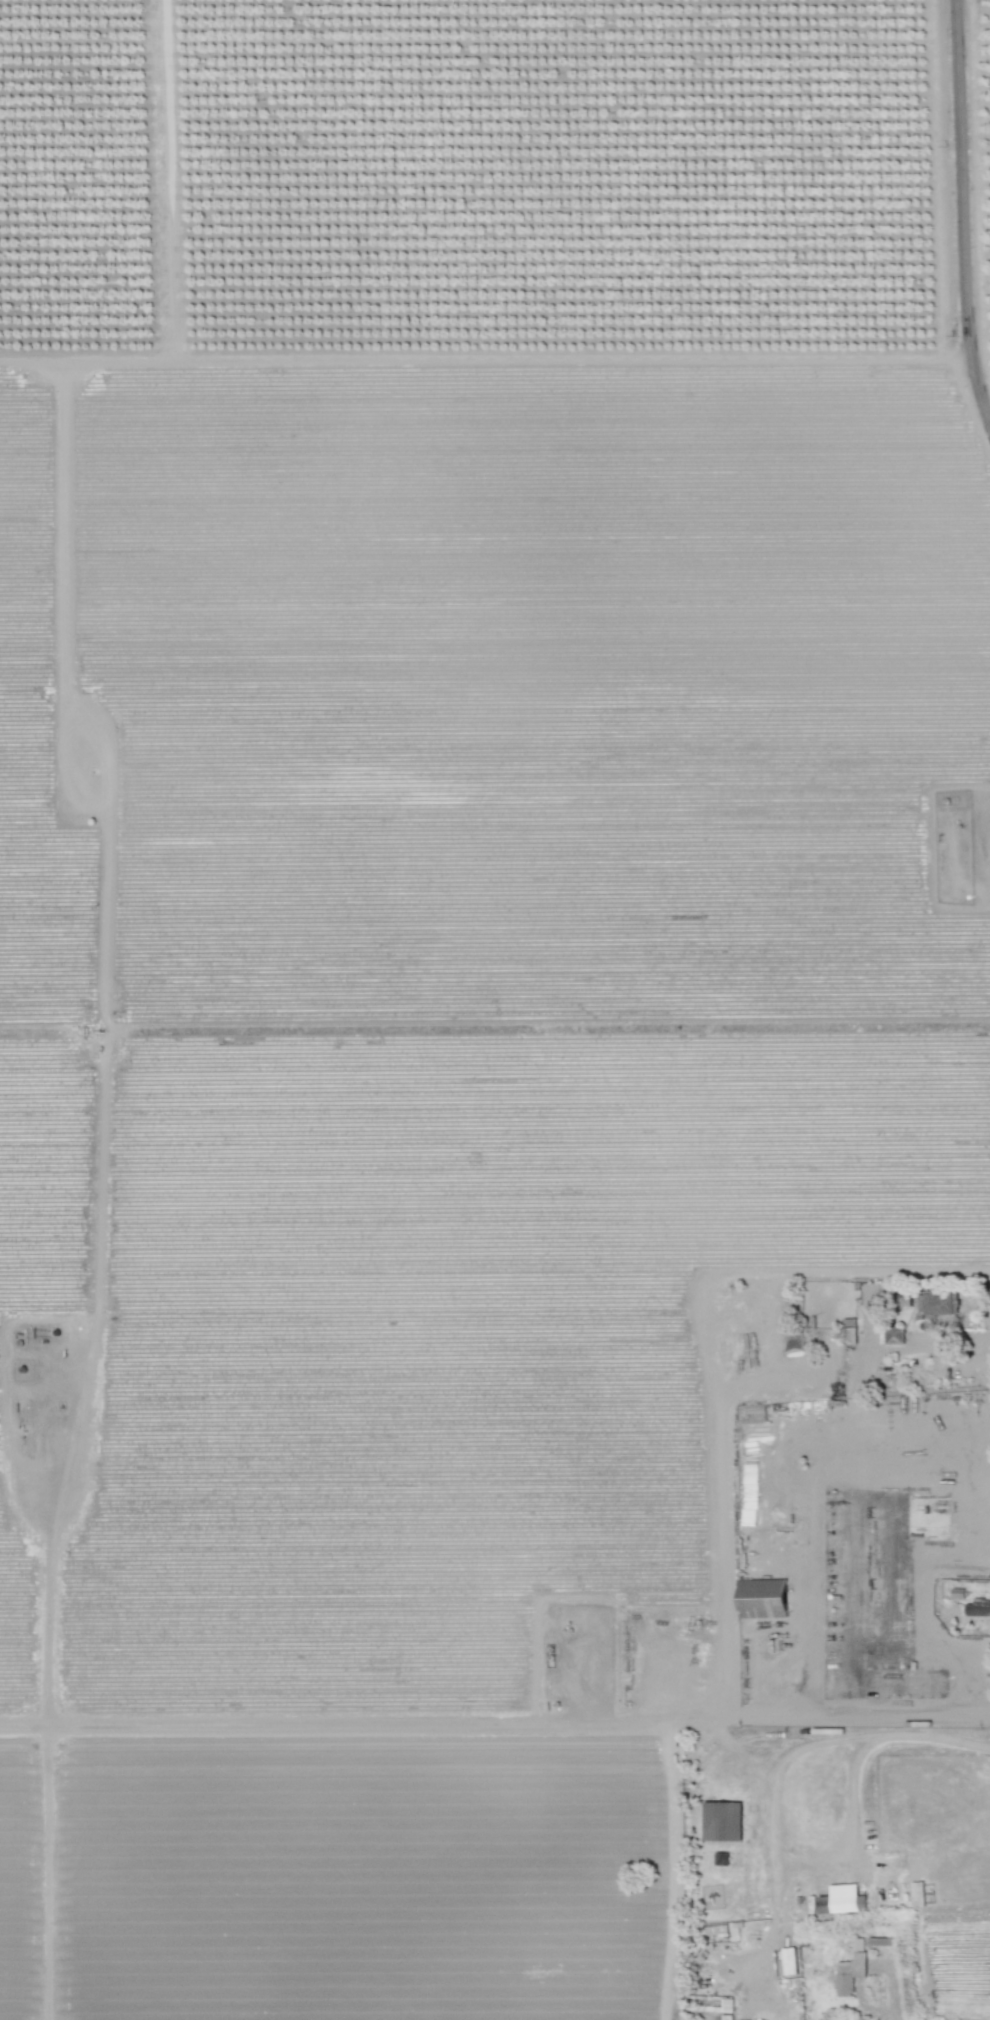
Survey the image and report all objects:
road: (963, 208)
building: (871, 1294)
building: (906, 1301)
building: (938, 1303)
building: (849, 1331)
building: (894, 1335)
building: (762, 1598)
building: (978, 1607)
road: (864, 1741)
building: (722, 1821)
building: (721, 1858)
building: (840, 1899)
building: (716, 1929)
building: (851, 1967)
building: (726, 2005)
road: (866, 2007)

